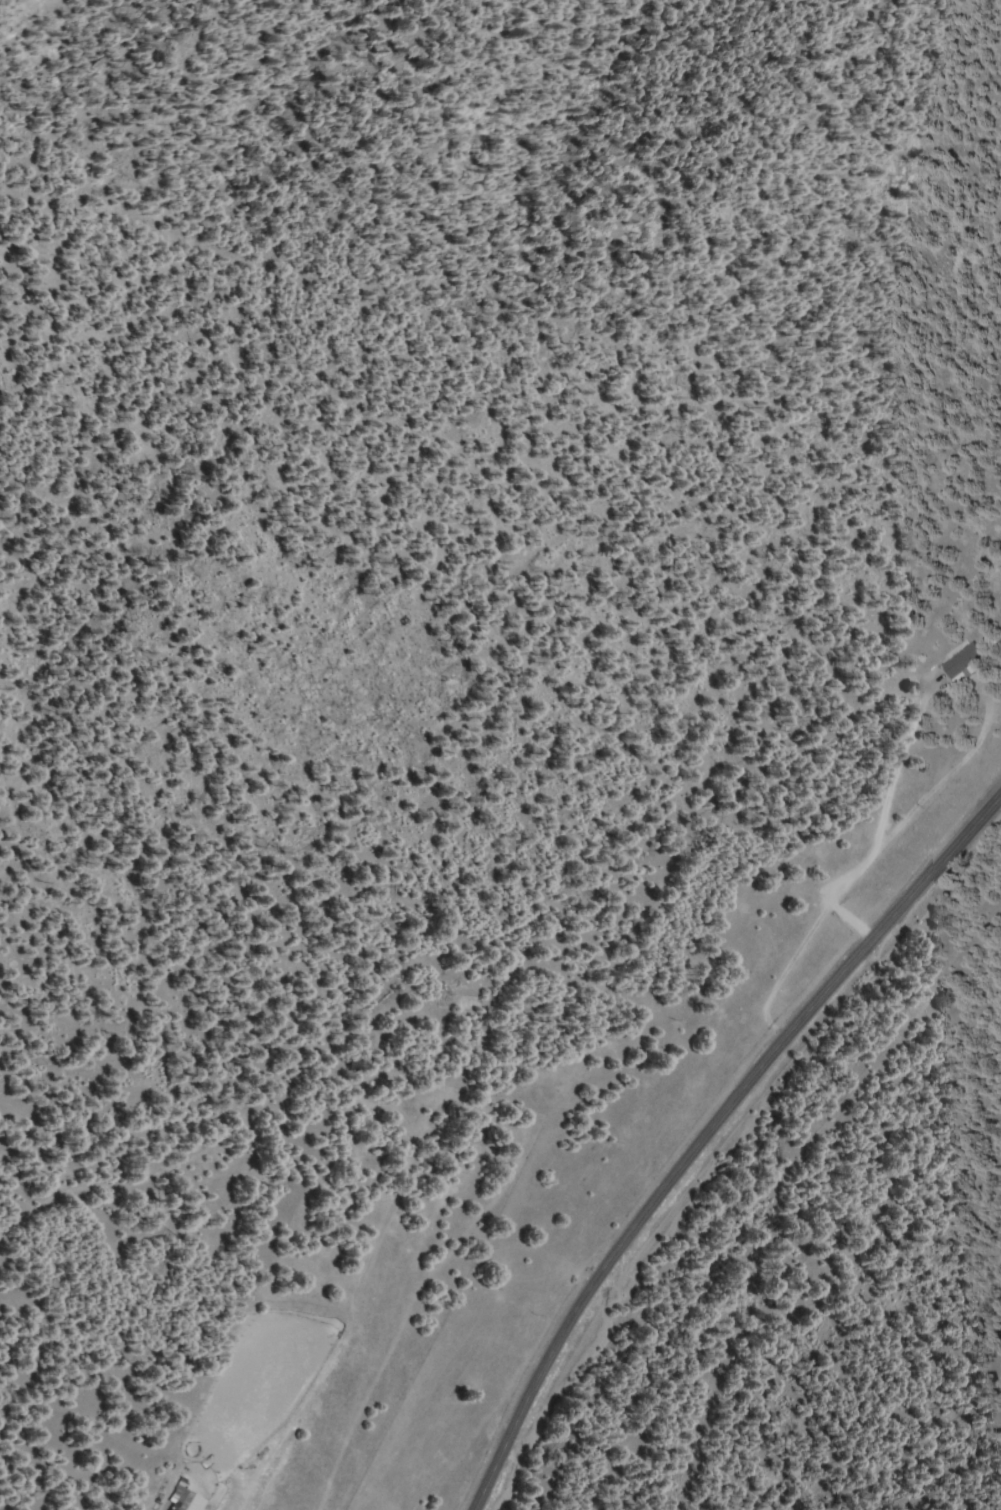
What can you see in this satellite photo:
road: (708, 1132)
building: (184, 1502)

